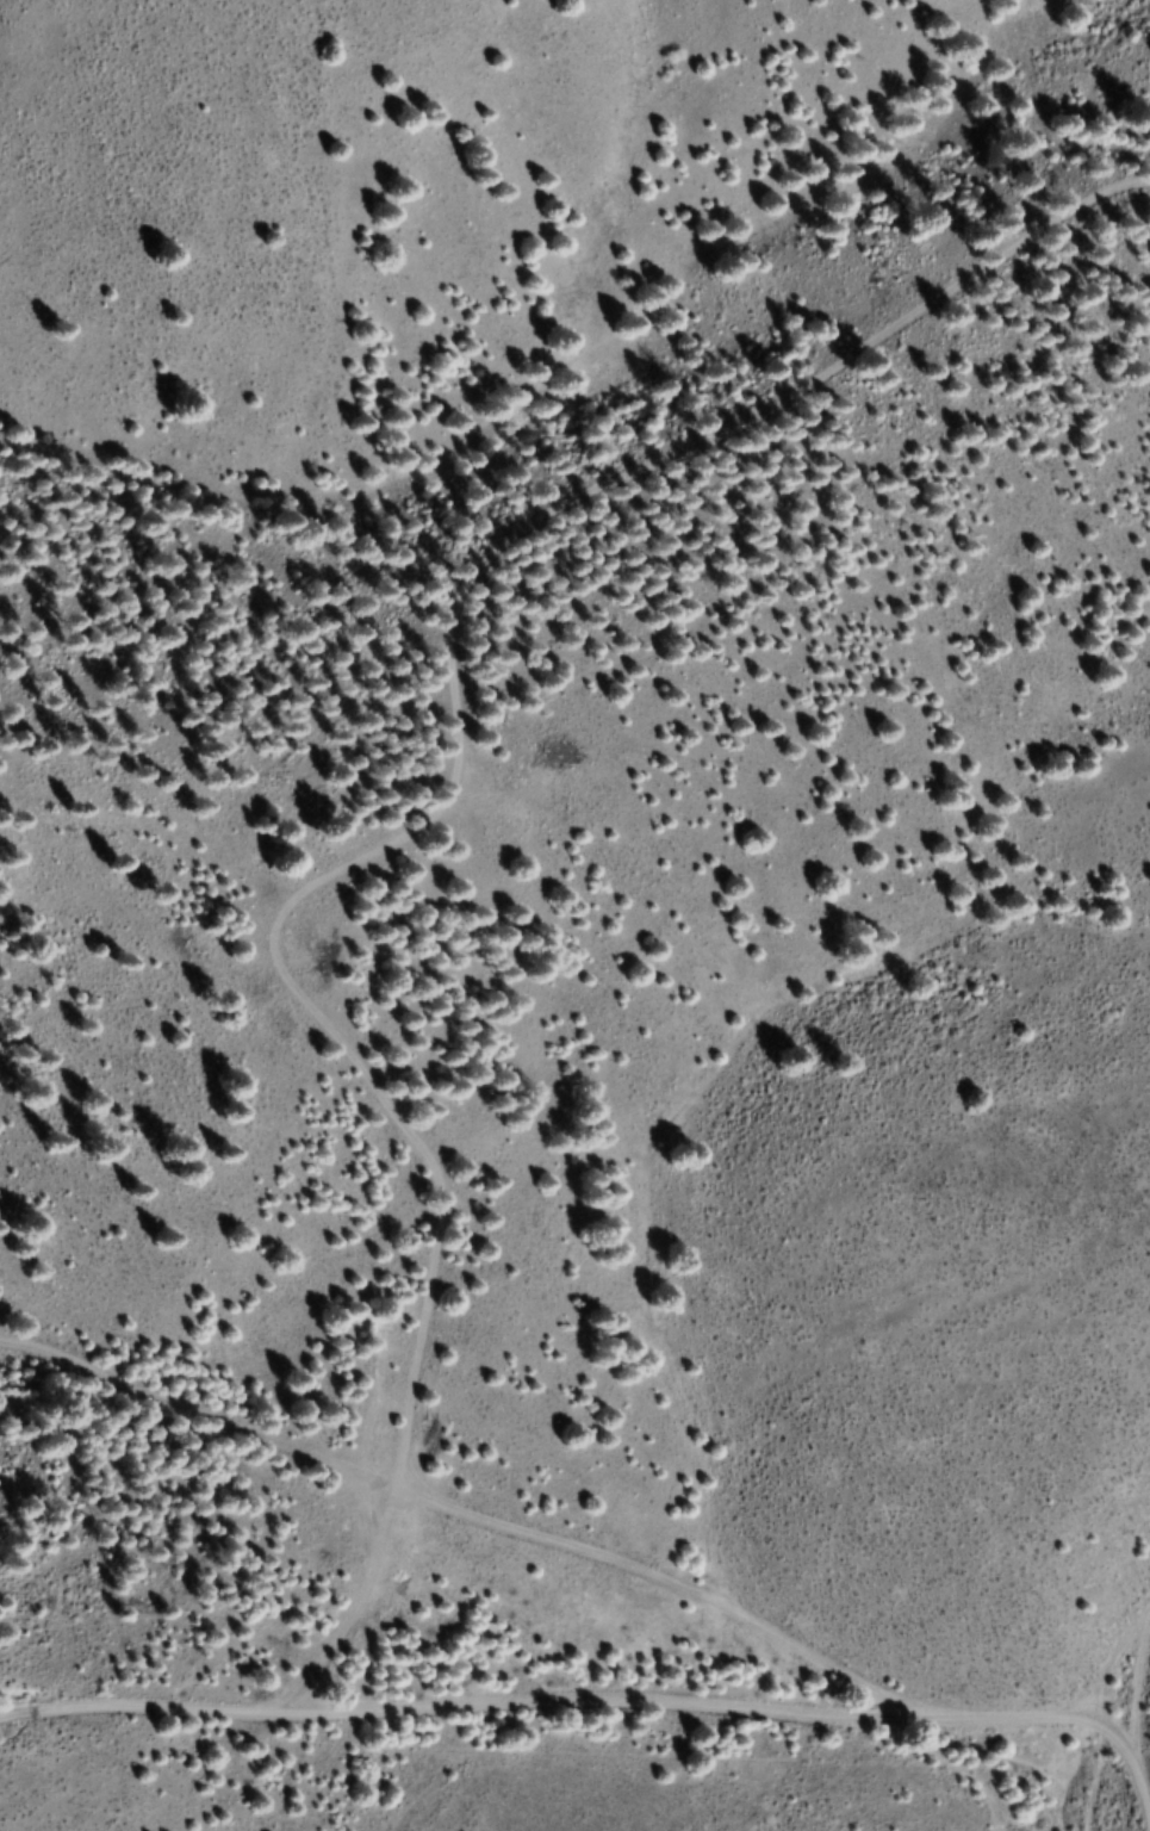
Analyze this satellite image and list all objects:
road: (568, 1552)
road: (1145, 1730)

